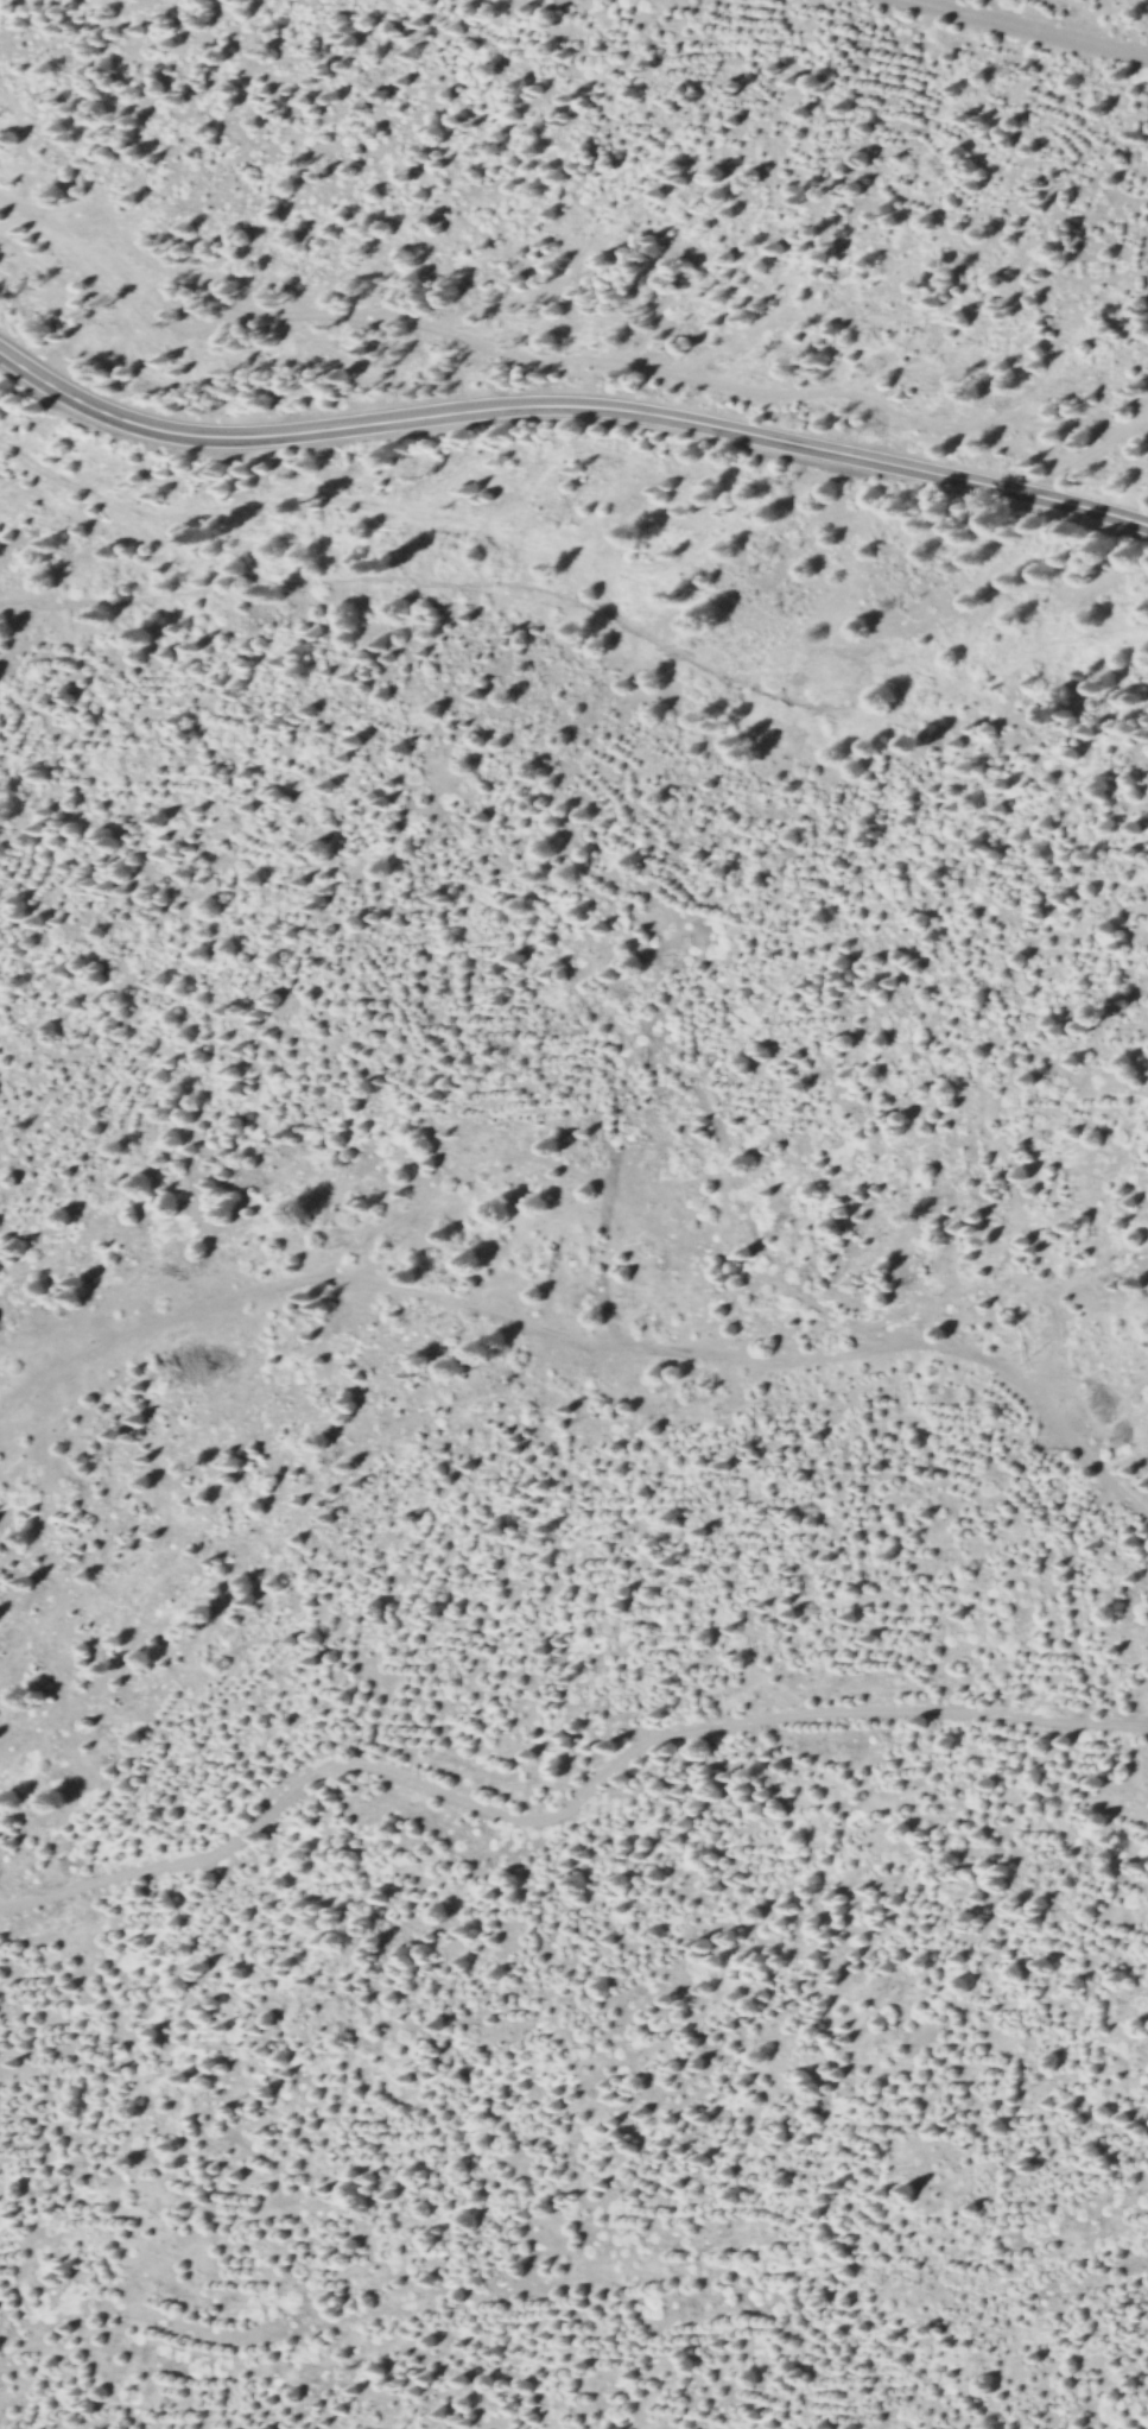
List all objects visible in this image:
road: (1029, 30)
road: (569, 401)
road: (1090, 451)

